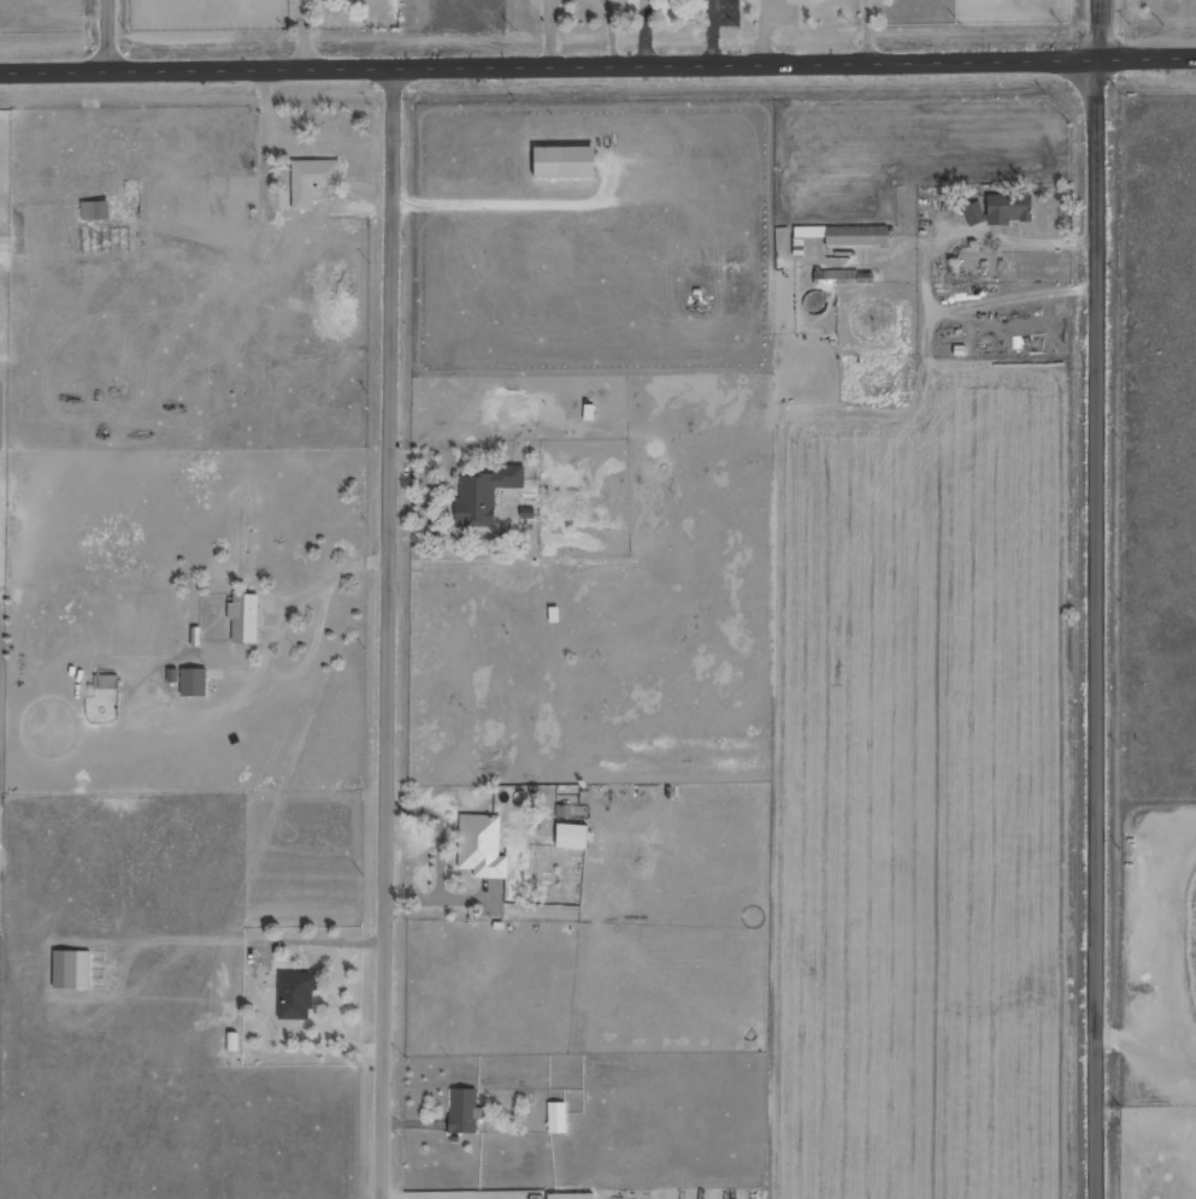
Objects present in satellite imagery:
road: (110, 33)
road: (597, 61)
building: (568, 163)
building: (314, 179)
building: (1011, 208)
building: (96, 209)
building: (973, 214)
building: (848, 235)
building: (487, 495)
road: (1100, 598)
building: (246, 618)
road: (391, 631)
building: (173, 675)
building: (106, 681)
building: (195, 681)
building: (575, 835)
building: (483, 846)
building: (72, 969)
building: (296, 996)
building: (465, 1111)
building: (558, 1117)
building: (573, 1195)

